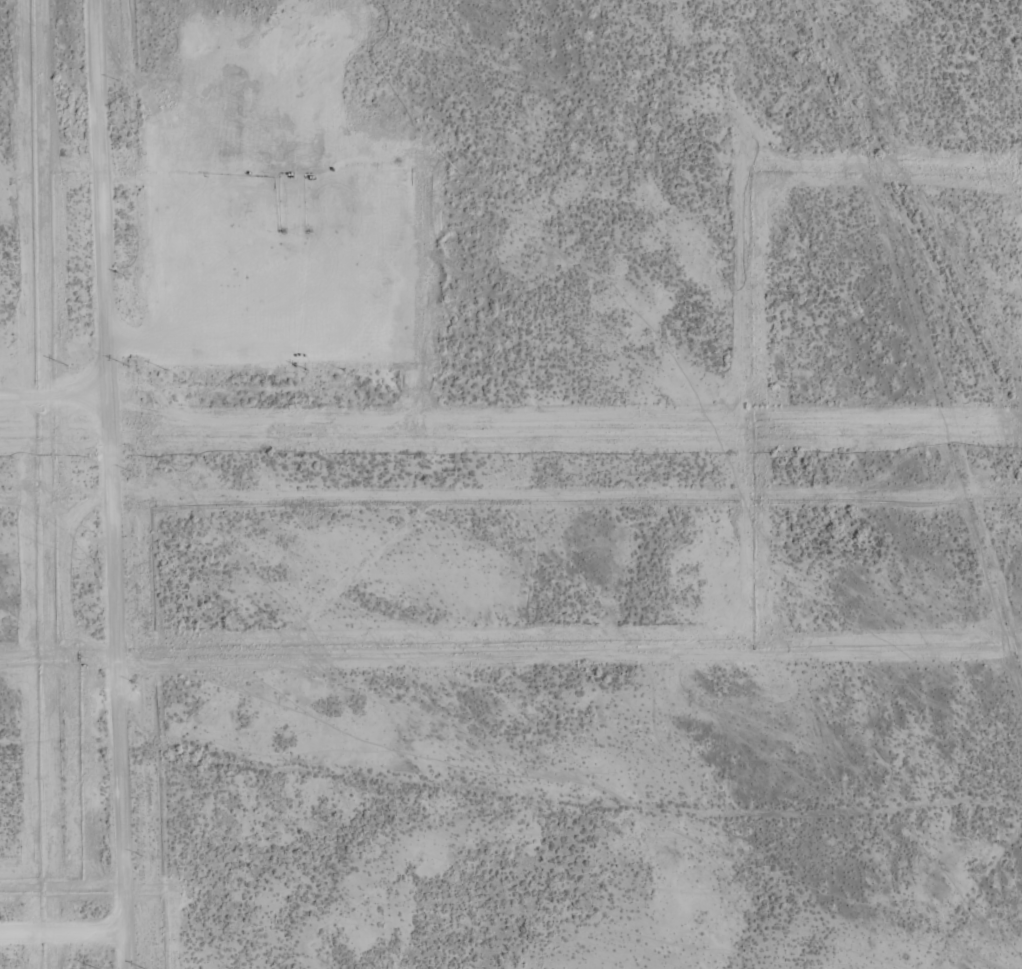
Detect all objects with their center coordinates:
road: (511, 775)
road: (965, 880)

